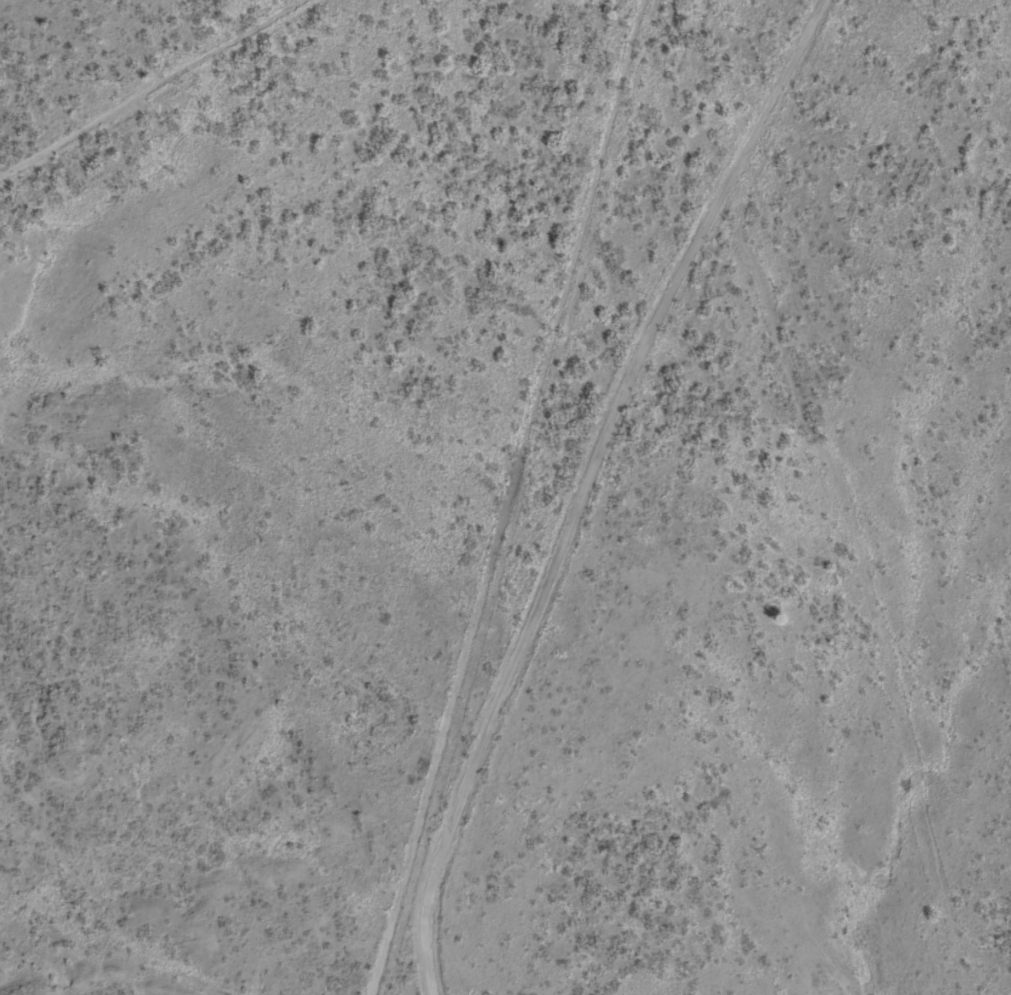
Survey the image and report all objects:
road: (171, 94)
road: (600, 481)

